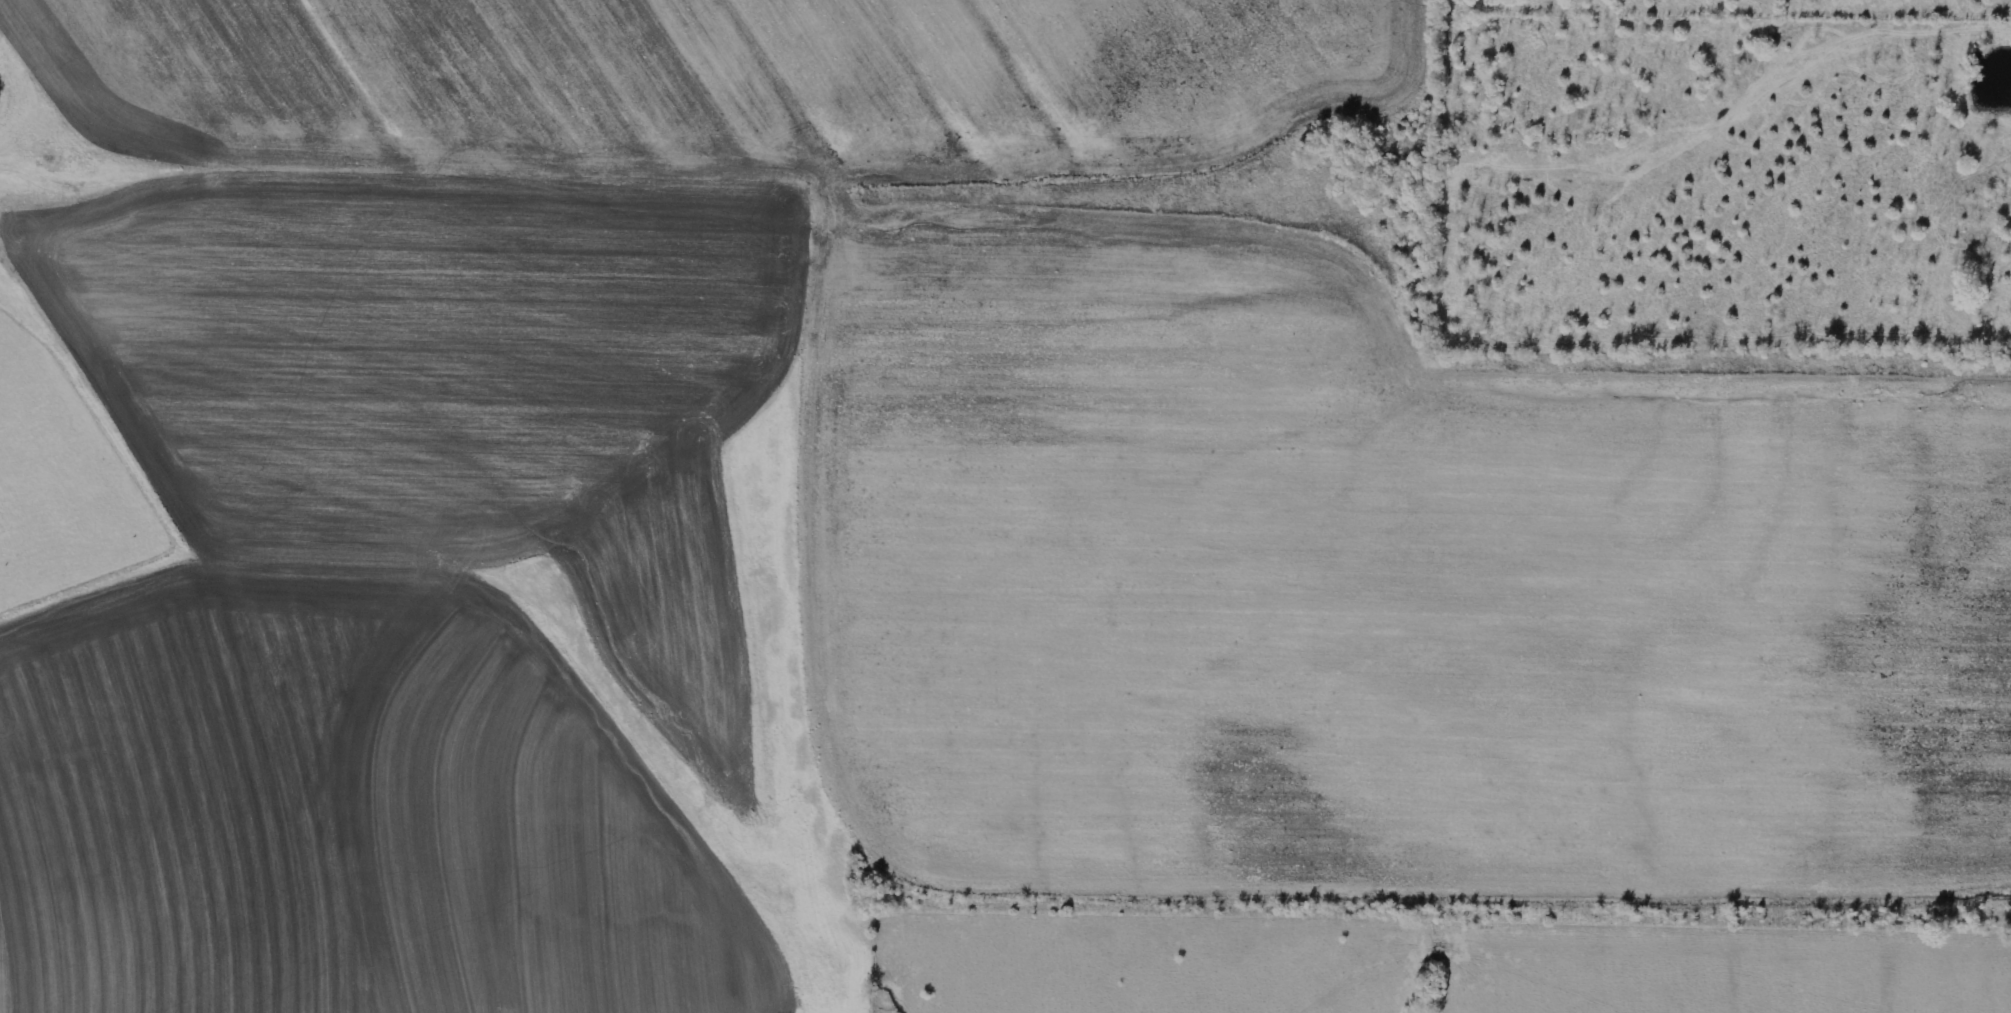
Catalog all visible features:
road: (465, 192)

